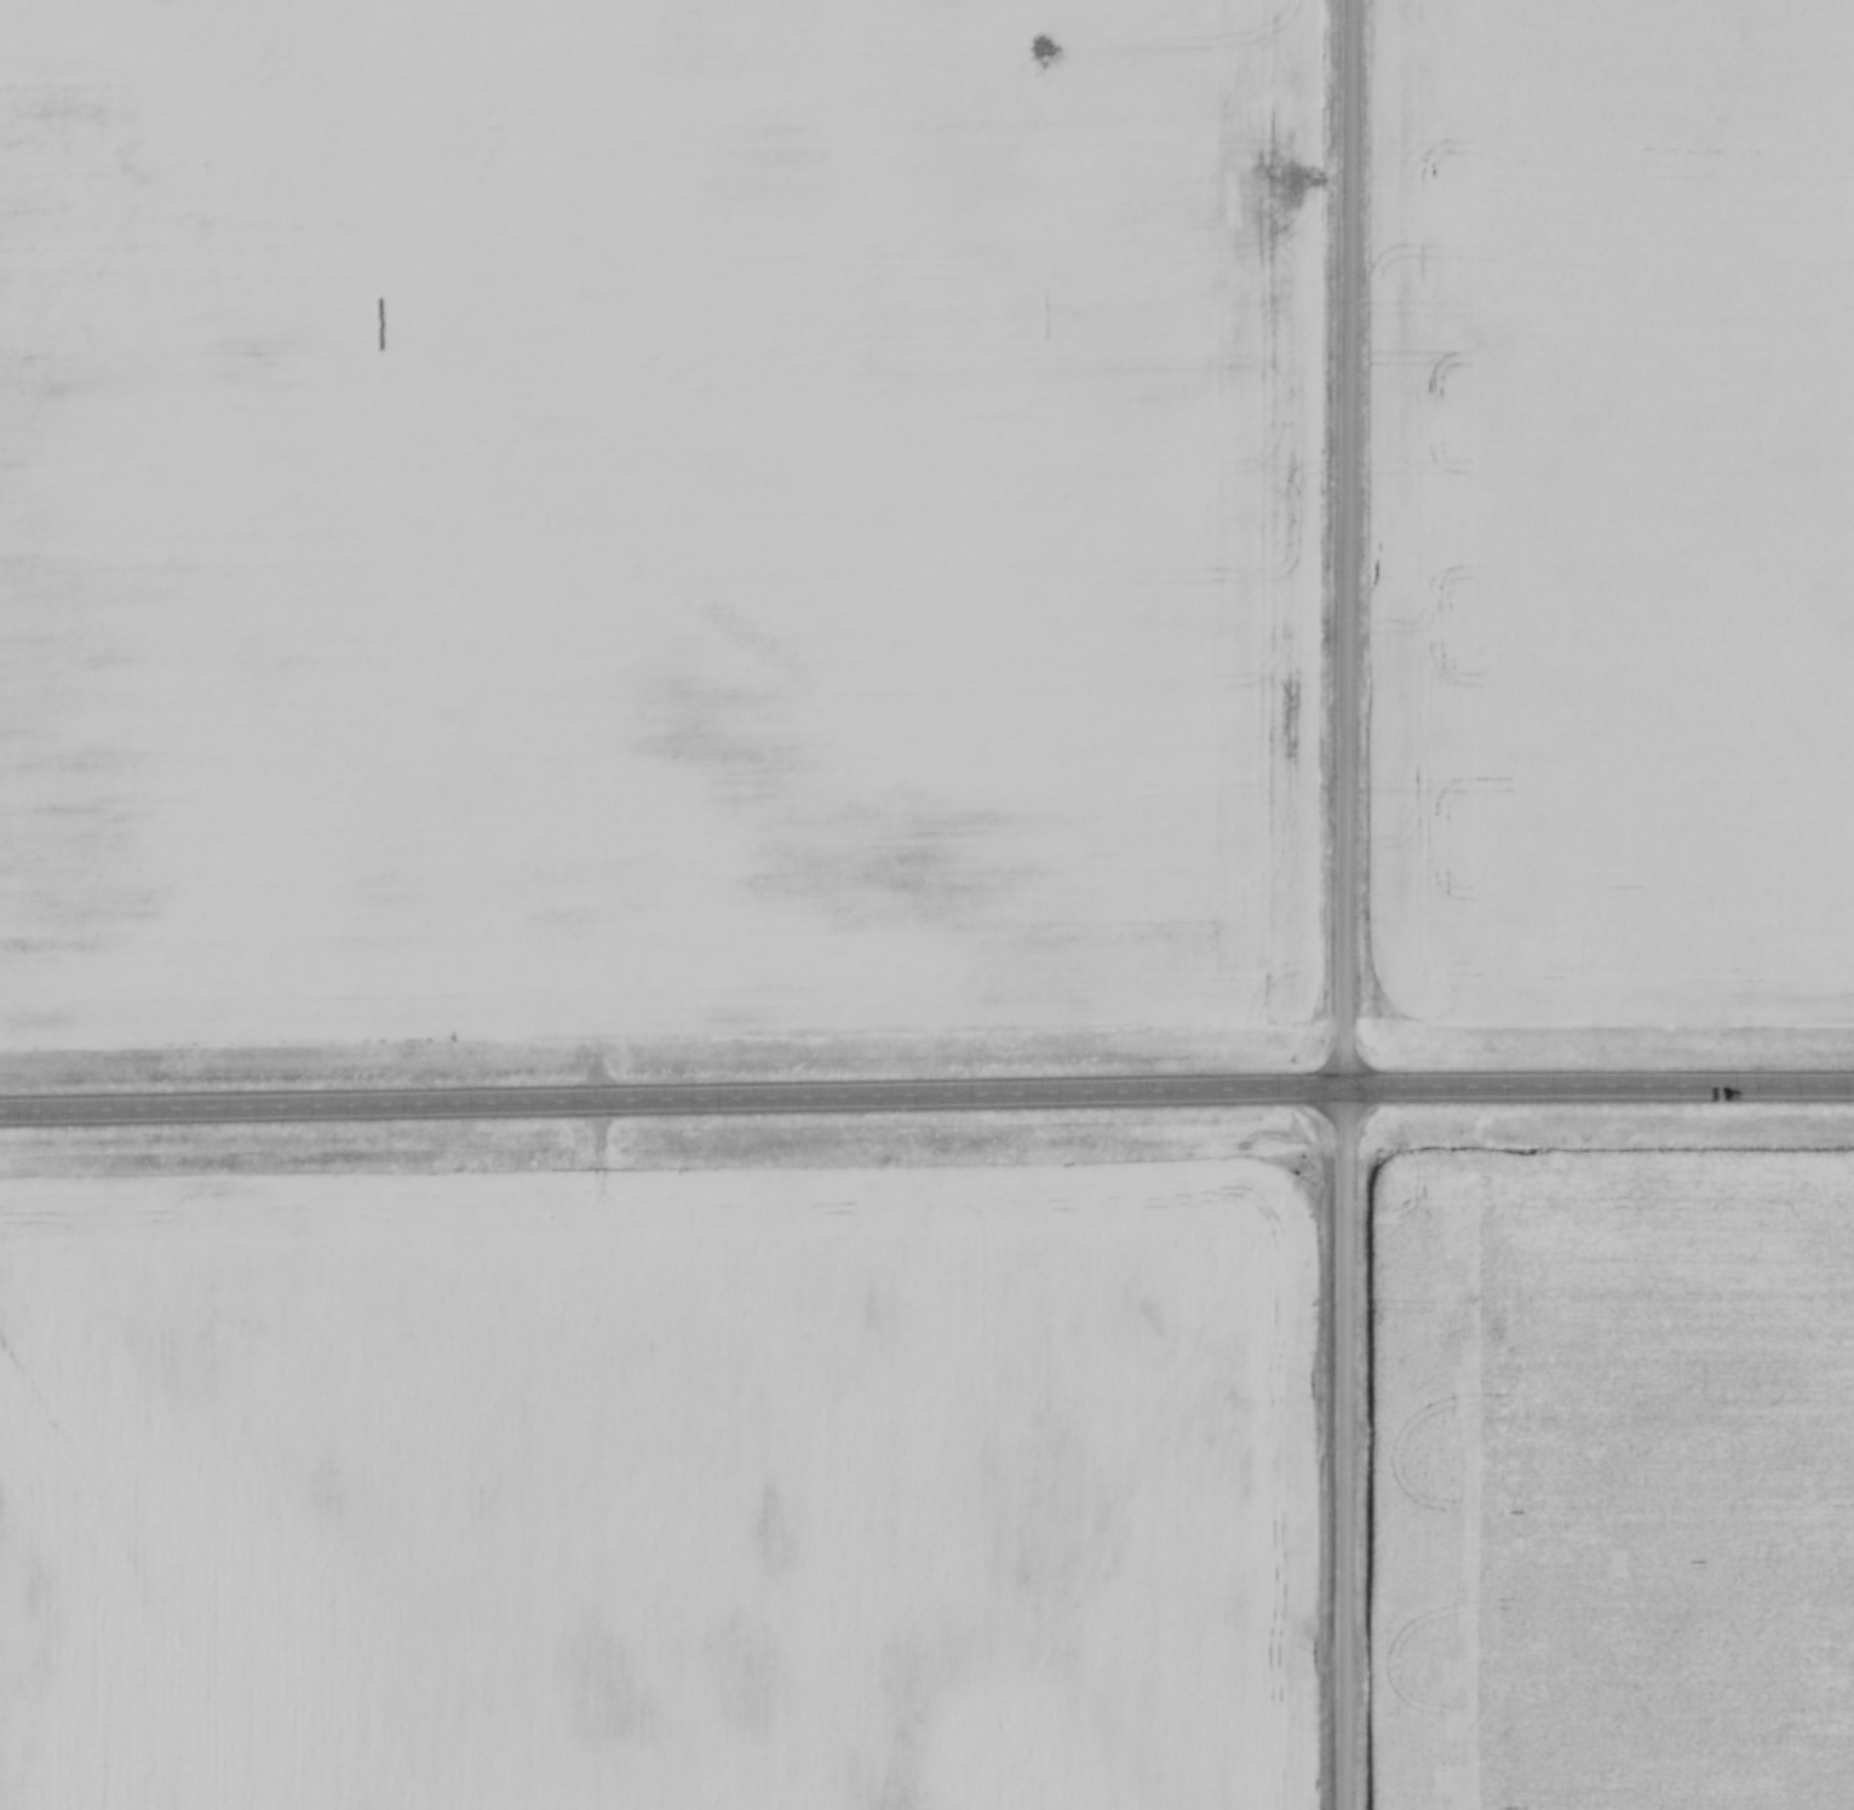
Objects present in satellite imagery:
road: (1347, 904)
road: (926, 1096)

